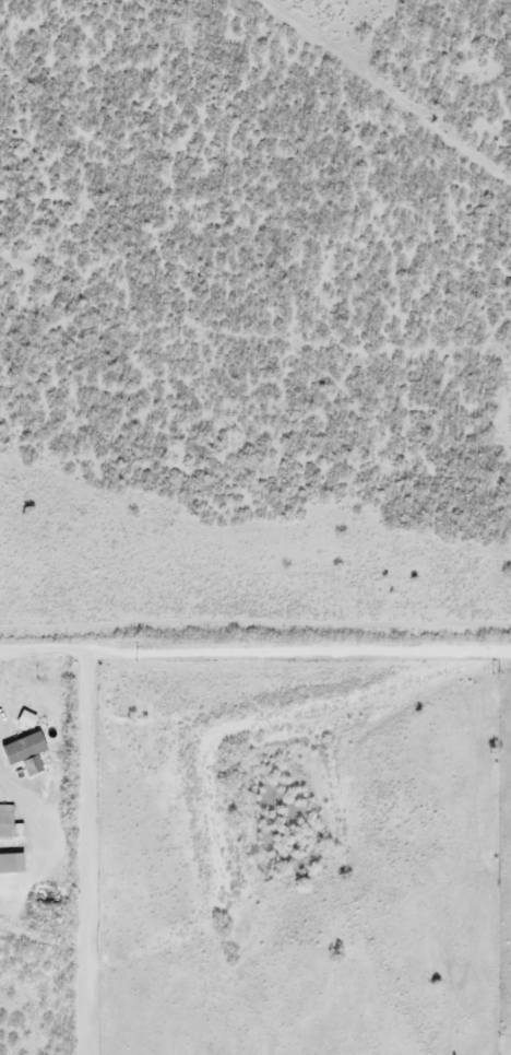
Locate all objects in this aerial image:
road: (255, 654)
building: (25, 719)
building: (31, 758)
building: (8, 824)

